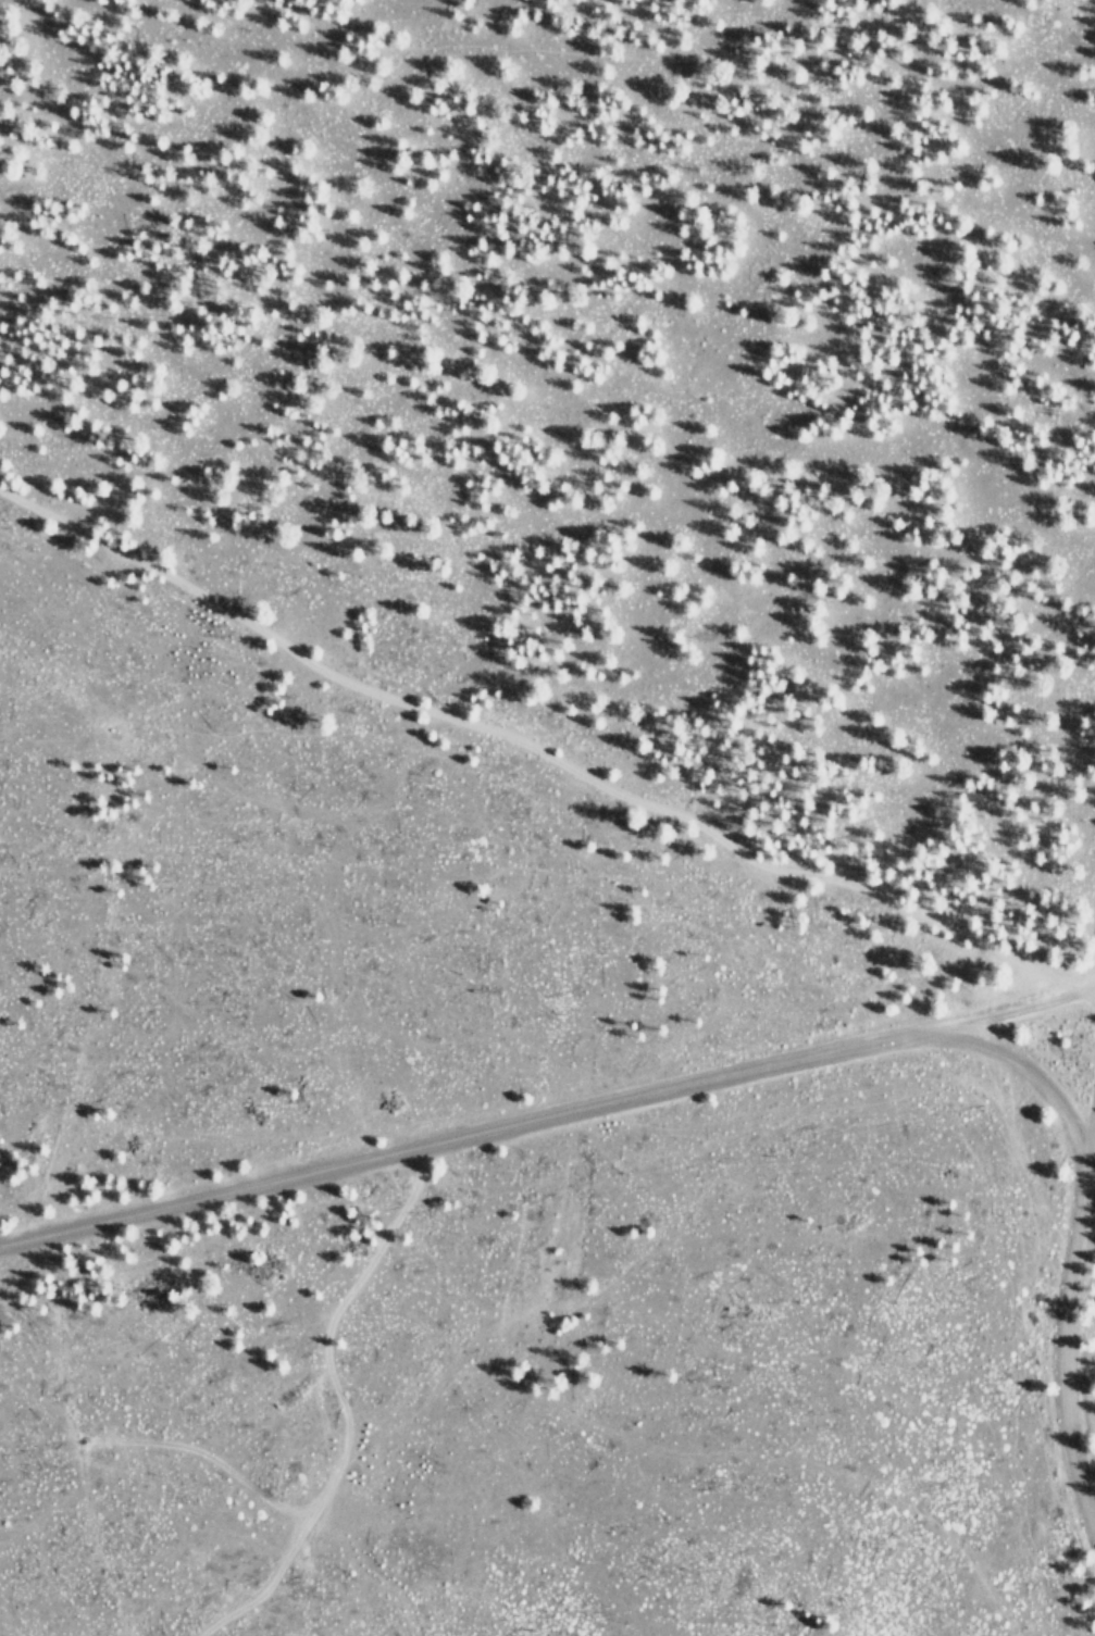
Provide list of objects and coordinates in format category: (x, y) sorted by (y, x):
road: (518, 776)
road: (523, 1107)
road: (1024, 1256)

